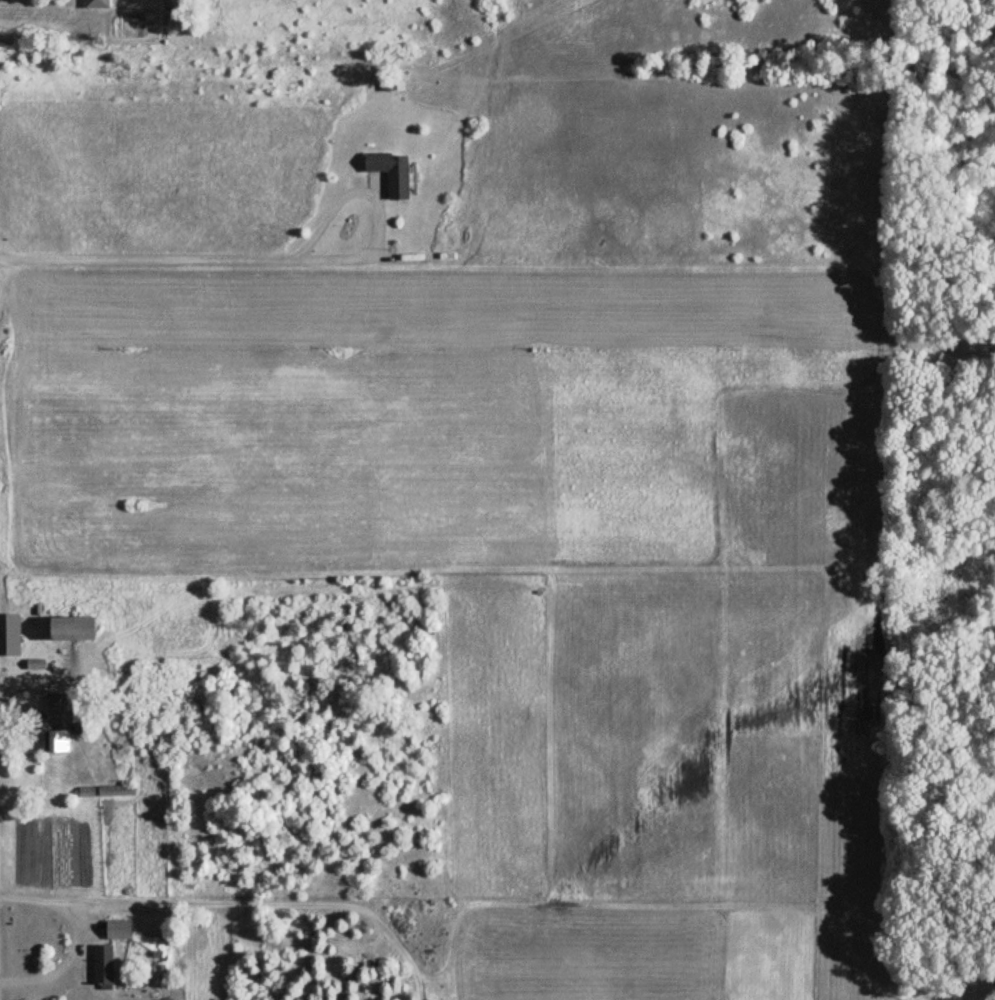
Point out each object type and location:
building: (95, 4)
building: (389, 174)
road: (218, 258)
building: (70, 629)
building: (11, 639)
building: (52, 710)
building: (55, 741)
building: (114, 932)
road: (75, 939)
building: (100, 967)

